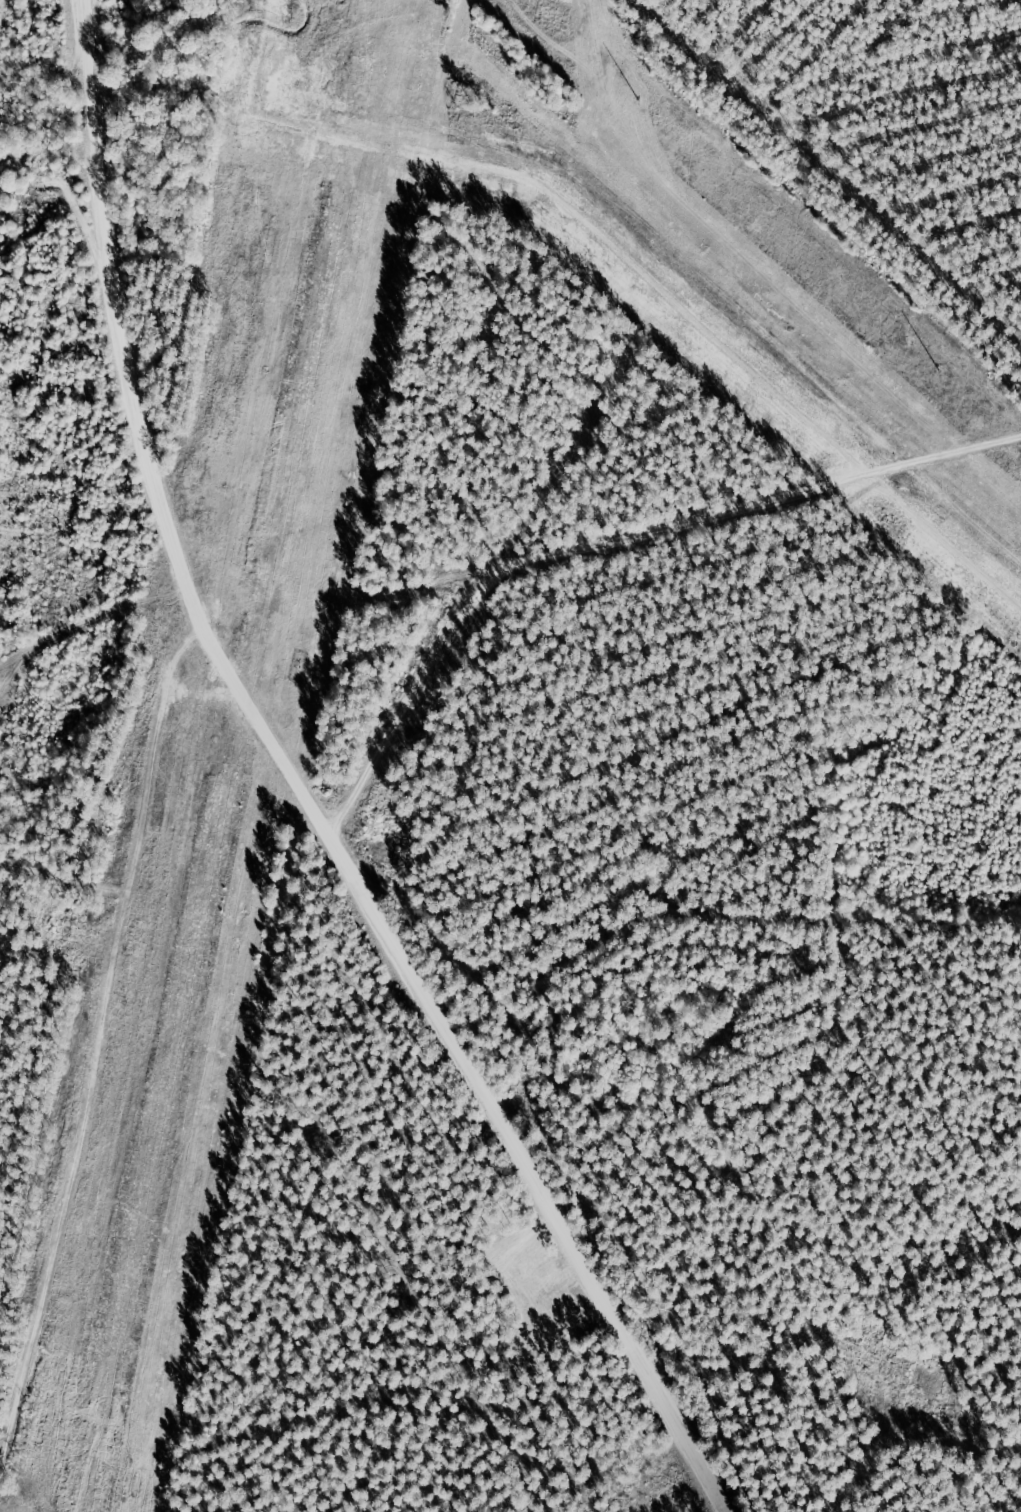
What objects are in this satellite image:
power tower: (657, 121)
power tower: (943, 377)
road: (636, 523)
road: (343, 793)
road: (112, 1061)

